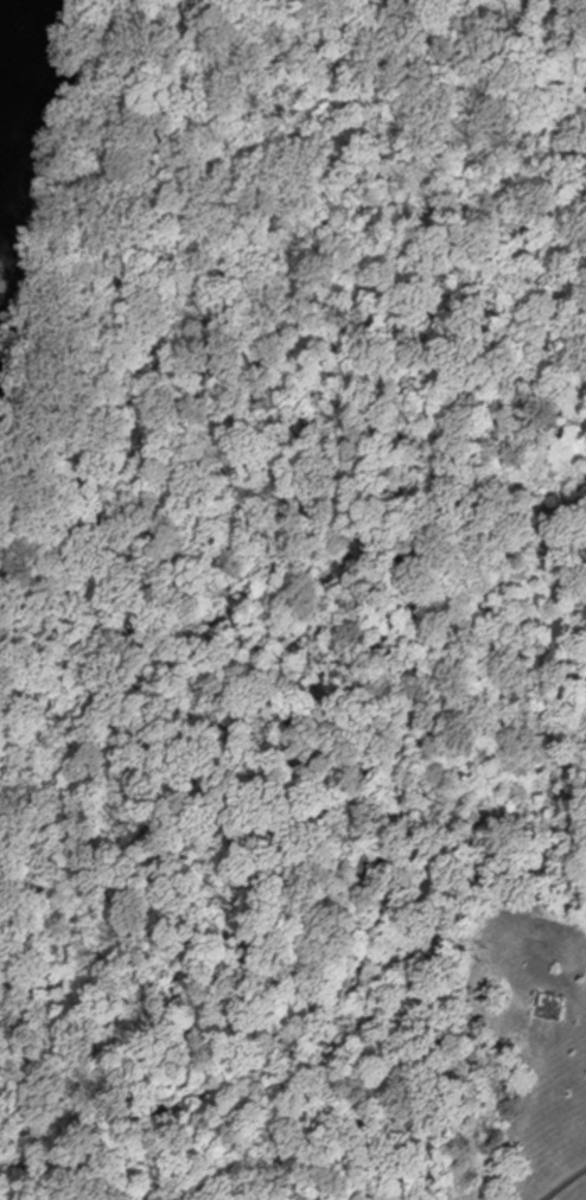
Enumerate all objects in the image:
road: (89, 448)
road: (560, 1180)

